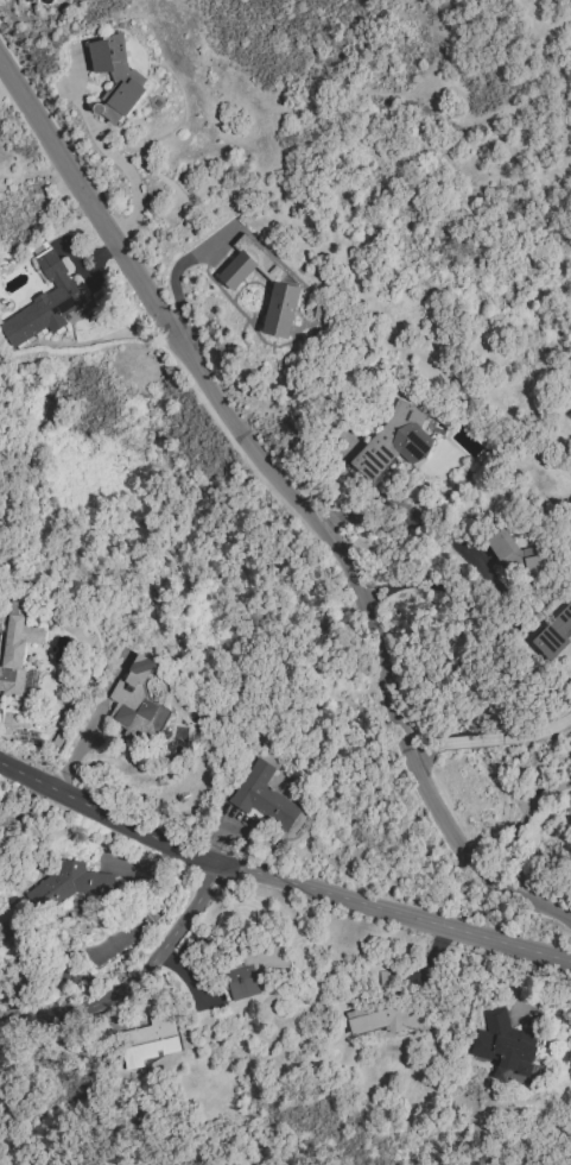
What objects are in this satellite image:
building: (24, 1)
building: (115, 78)
road: (110, 155)
road: (175, 276)
building: (43, 303)
building: (280, 310)
building: (394, 441)
road: (294, 498)
road: (404, 525)
building: (516, 556)
road: (430, 586)
building: (554, 634)
building: (14, 648)
building: (137, 704)
road: (89, 725)
road: (490, 739)
building: (262, 796)
road: (278, 880)
building: (68, 886)
building: (254, 970)
road: (137, 982)
road: (21, 1007)
building: (388, 1018)
building: (148, 1040)
building: (503, 1045)

